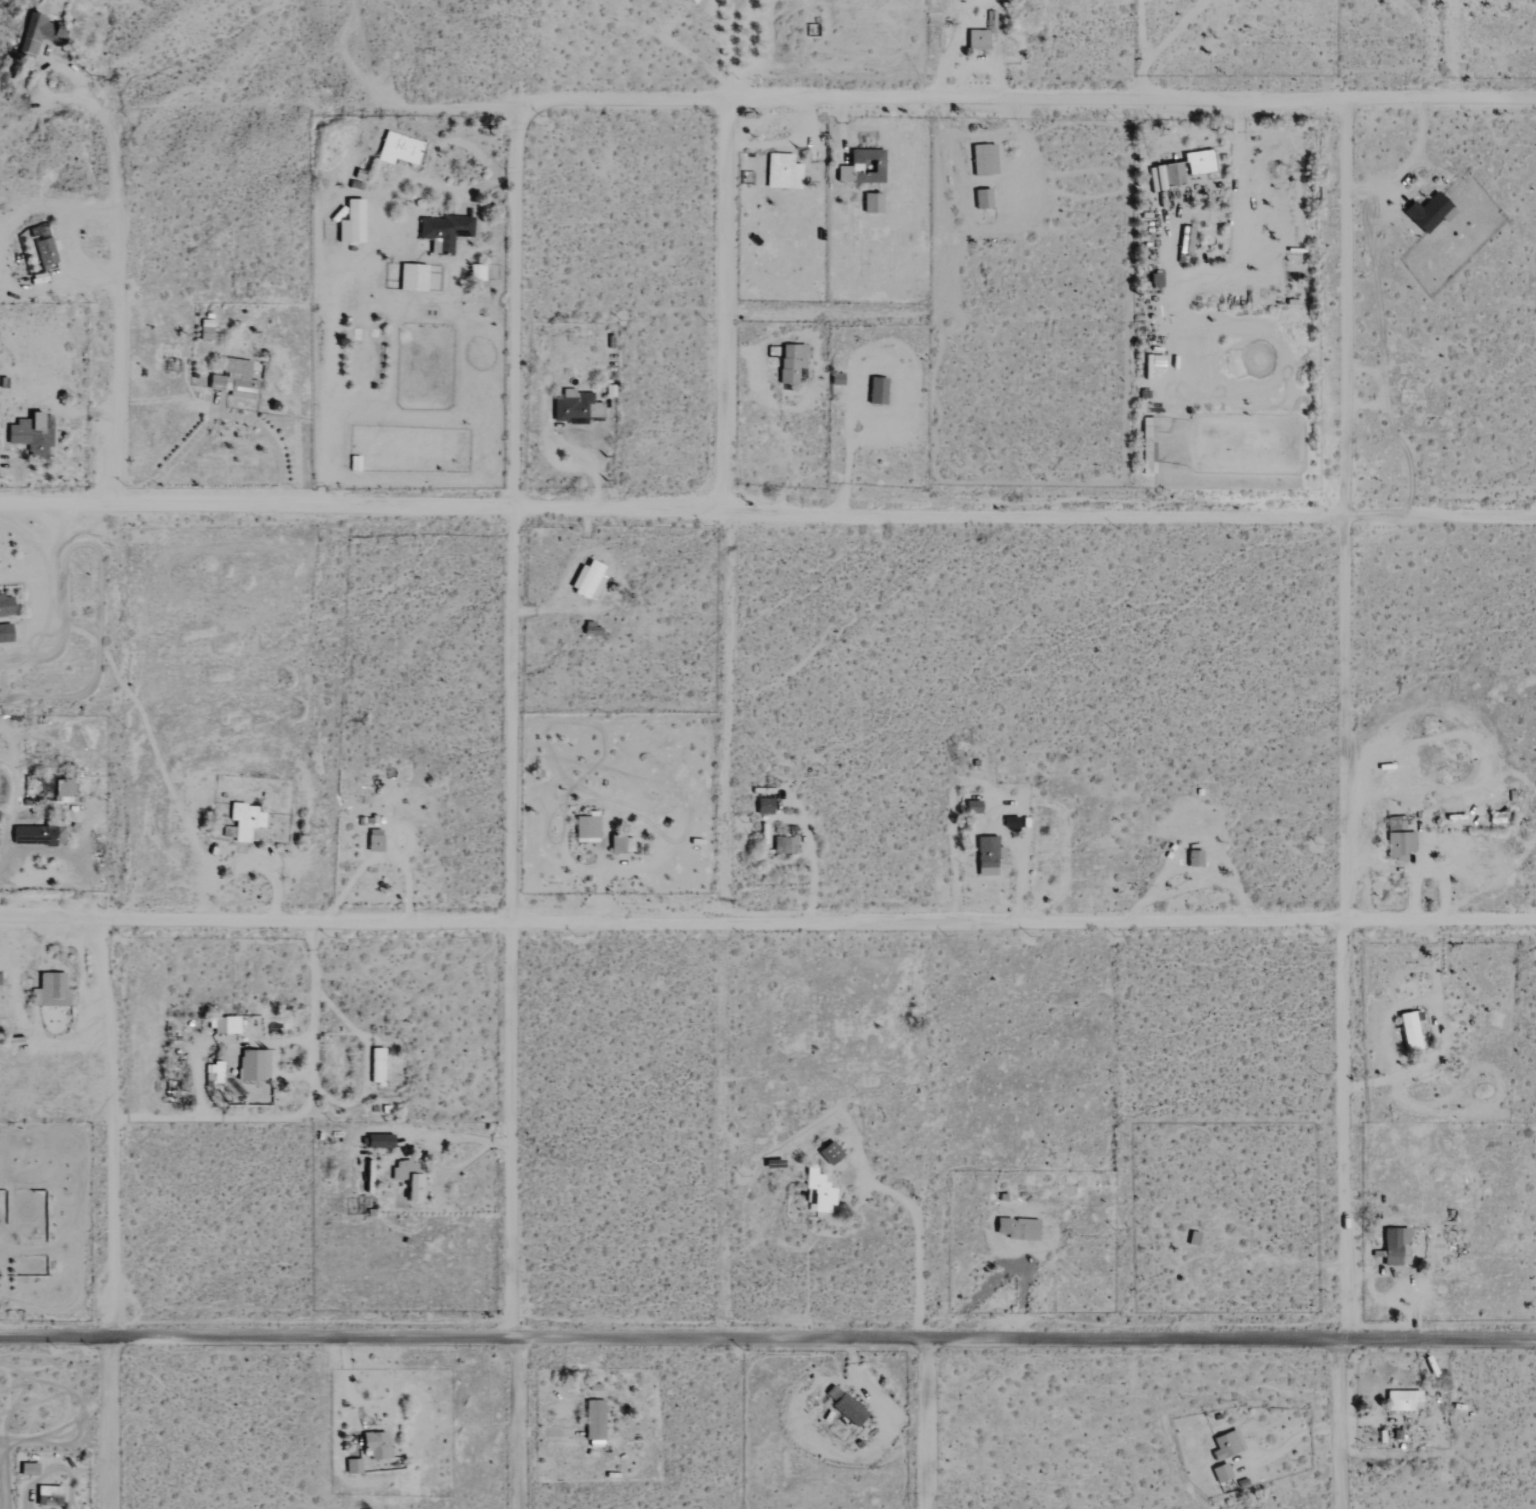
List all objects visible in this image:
building: (36, 33)
building: (977, 39)
road: (1018, 101)
building: (398, 149)
building: (984, 159)
building: (1200, 162)
building: (782, 172)
building: (844, 173)
building: (1168, 175)
building: (982, 199)
building: (872, 203)
building: (1427, 212)
building: (351, 223)
building: (443, 232)
building: (44, 251)
building: (1156, 282)
road: (108, 296)
building: (205, 329)
building: (1154, 361)
building: (791, 362)
building: (234, 378)
building: (836, 379)
building: (877, 391)
building: (1405, 398)
building: (575, 407)
road: (225, 415)
building: (31, 434)
building: (1147, 437)
road: (671, 509)
road: (723, 513)
road: (511, 515)
road: (1439, 516)
building: (587, 580)
building: (5, 606)
building: (591, 630)
road: (1344, 723)
building: (603, 783)
building: (62, 788)
building: (764, 806)
building: (972, 807)
building: (245, 822)
building: (587, 828)
building: (38, 836)
building: (621, 844)
building: (784, 845)
building: (1394, 847)
building: (986, 857)
building: (1194, 859)
road: (768, 922)
building: (49, 990)
building: (225, 1025)
building: (1411, 1030)
building: (253, 1065)
building: (376, 1065)
road: (102, 1128)
road: (511, 1131)
building: (378, 1141)
building: (829, 1153)
building: (410, 1179)
building: (1018, 1228)
building: (1395, 1246)
road: (768, 1339)
road: (1340, 1357)
building: (1403, 1400)
building: (848, 1410)
building: (594, 1419)
road: (109, 1423)
road: (514, 1424)
road: (924, 1425)
road: (1337, 1442)
building: (1226, 1445)
building: (352, 1466)

